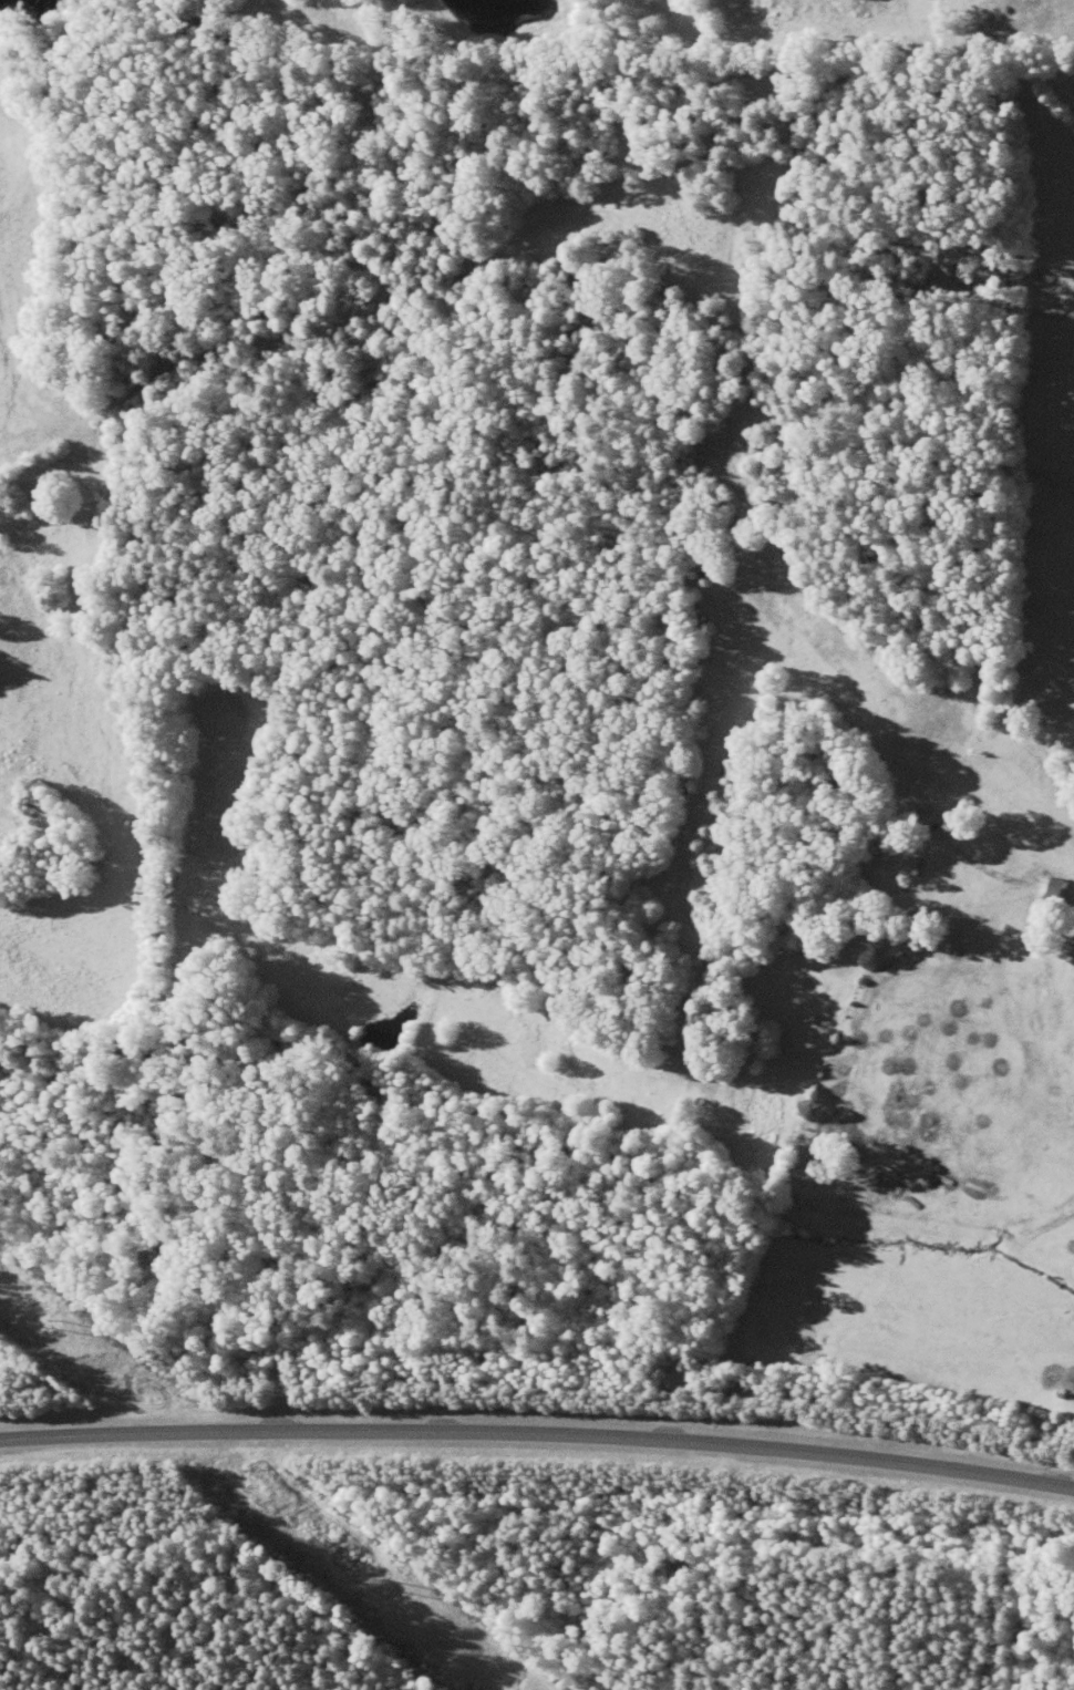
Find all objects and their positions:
building: (1072, 944)
power tower: (58, 1326)
road: (538, 1432)
power tower: (380, 1579)

